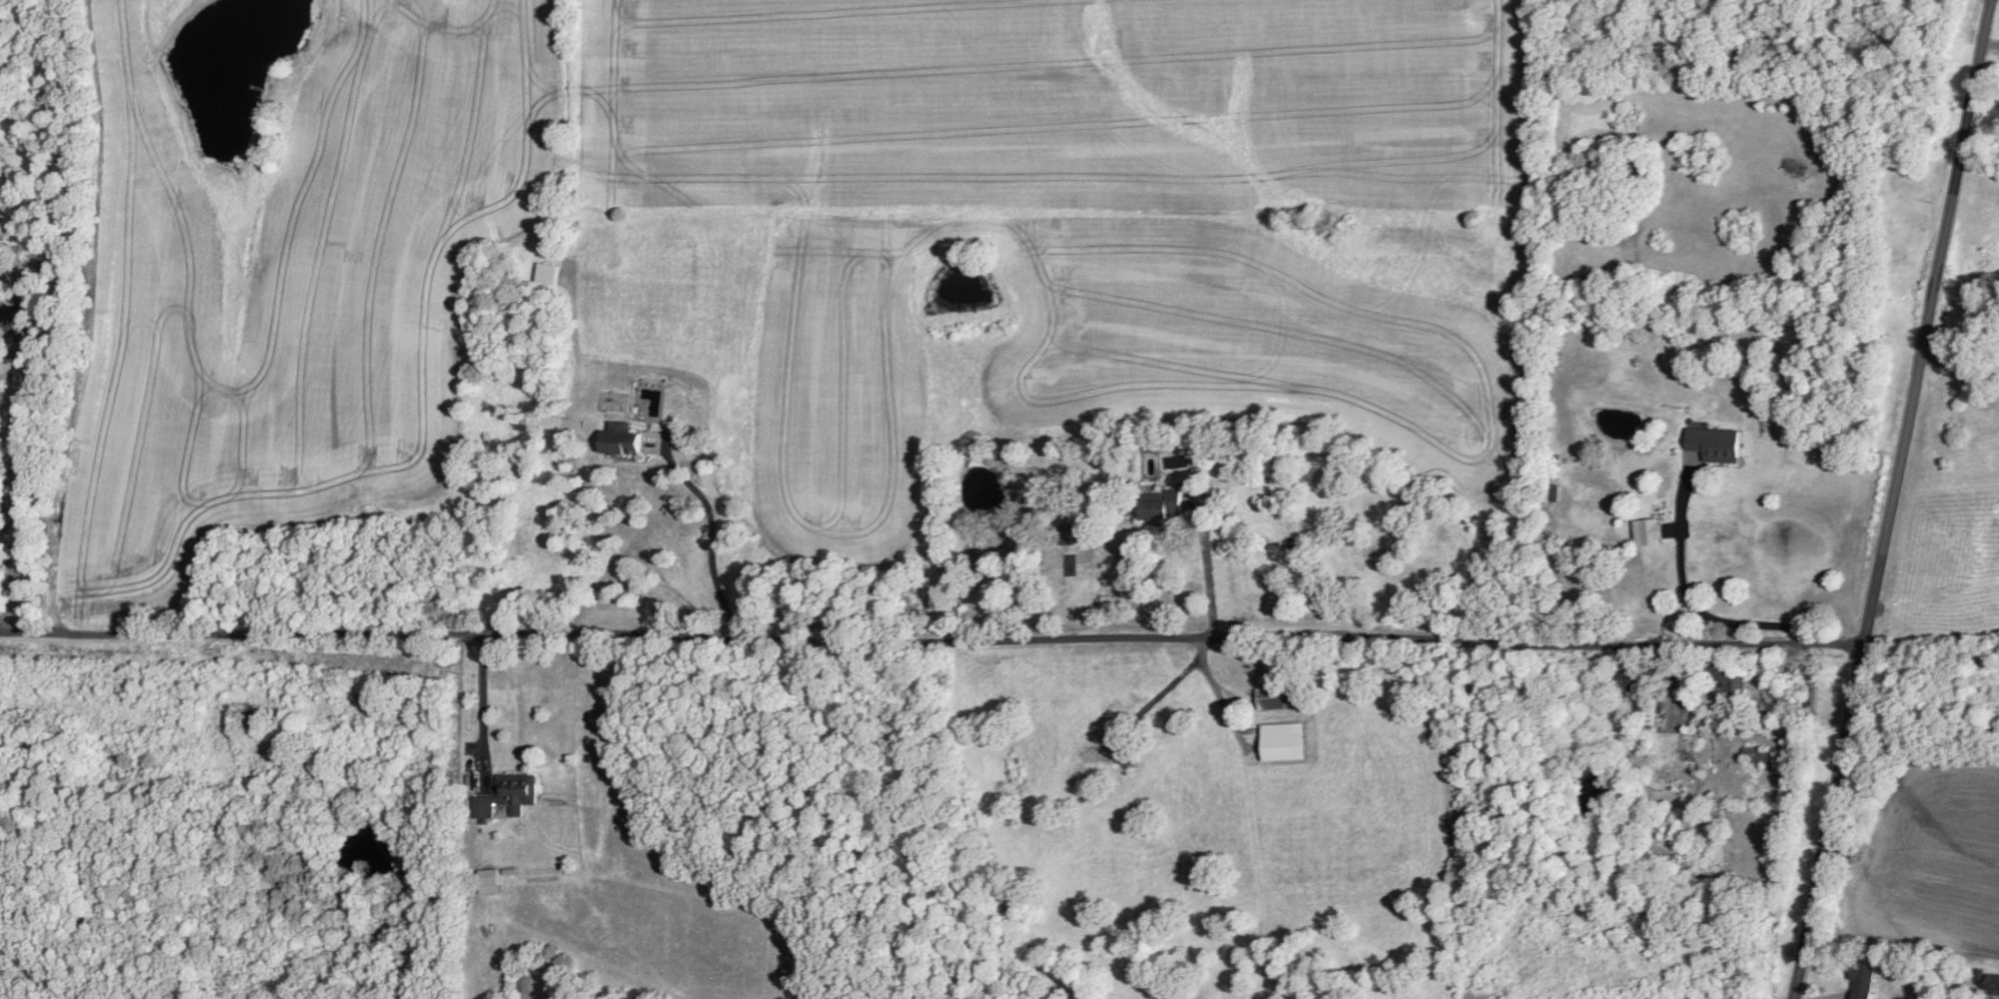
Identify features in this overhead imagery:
building: (556, 273)
building: (1, 300)
building: (628, 439)
building: (1721, 444)
road: (1896, 499)
building: (1170, 506)
building: (1655, 532)
road: (933, 638)
building: (1737, 683)
building: (1278, 697)
building: (1291, 742)
building: (1764, 755)
building: (512, 795)
building: (493, 880)
building: (1868, 980)
building: (1996, 983)

